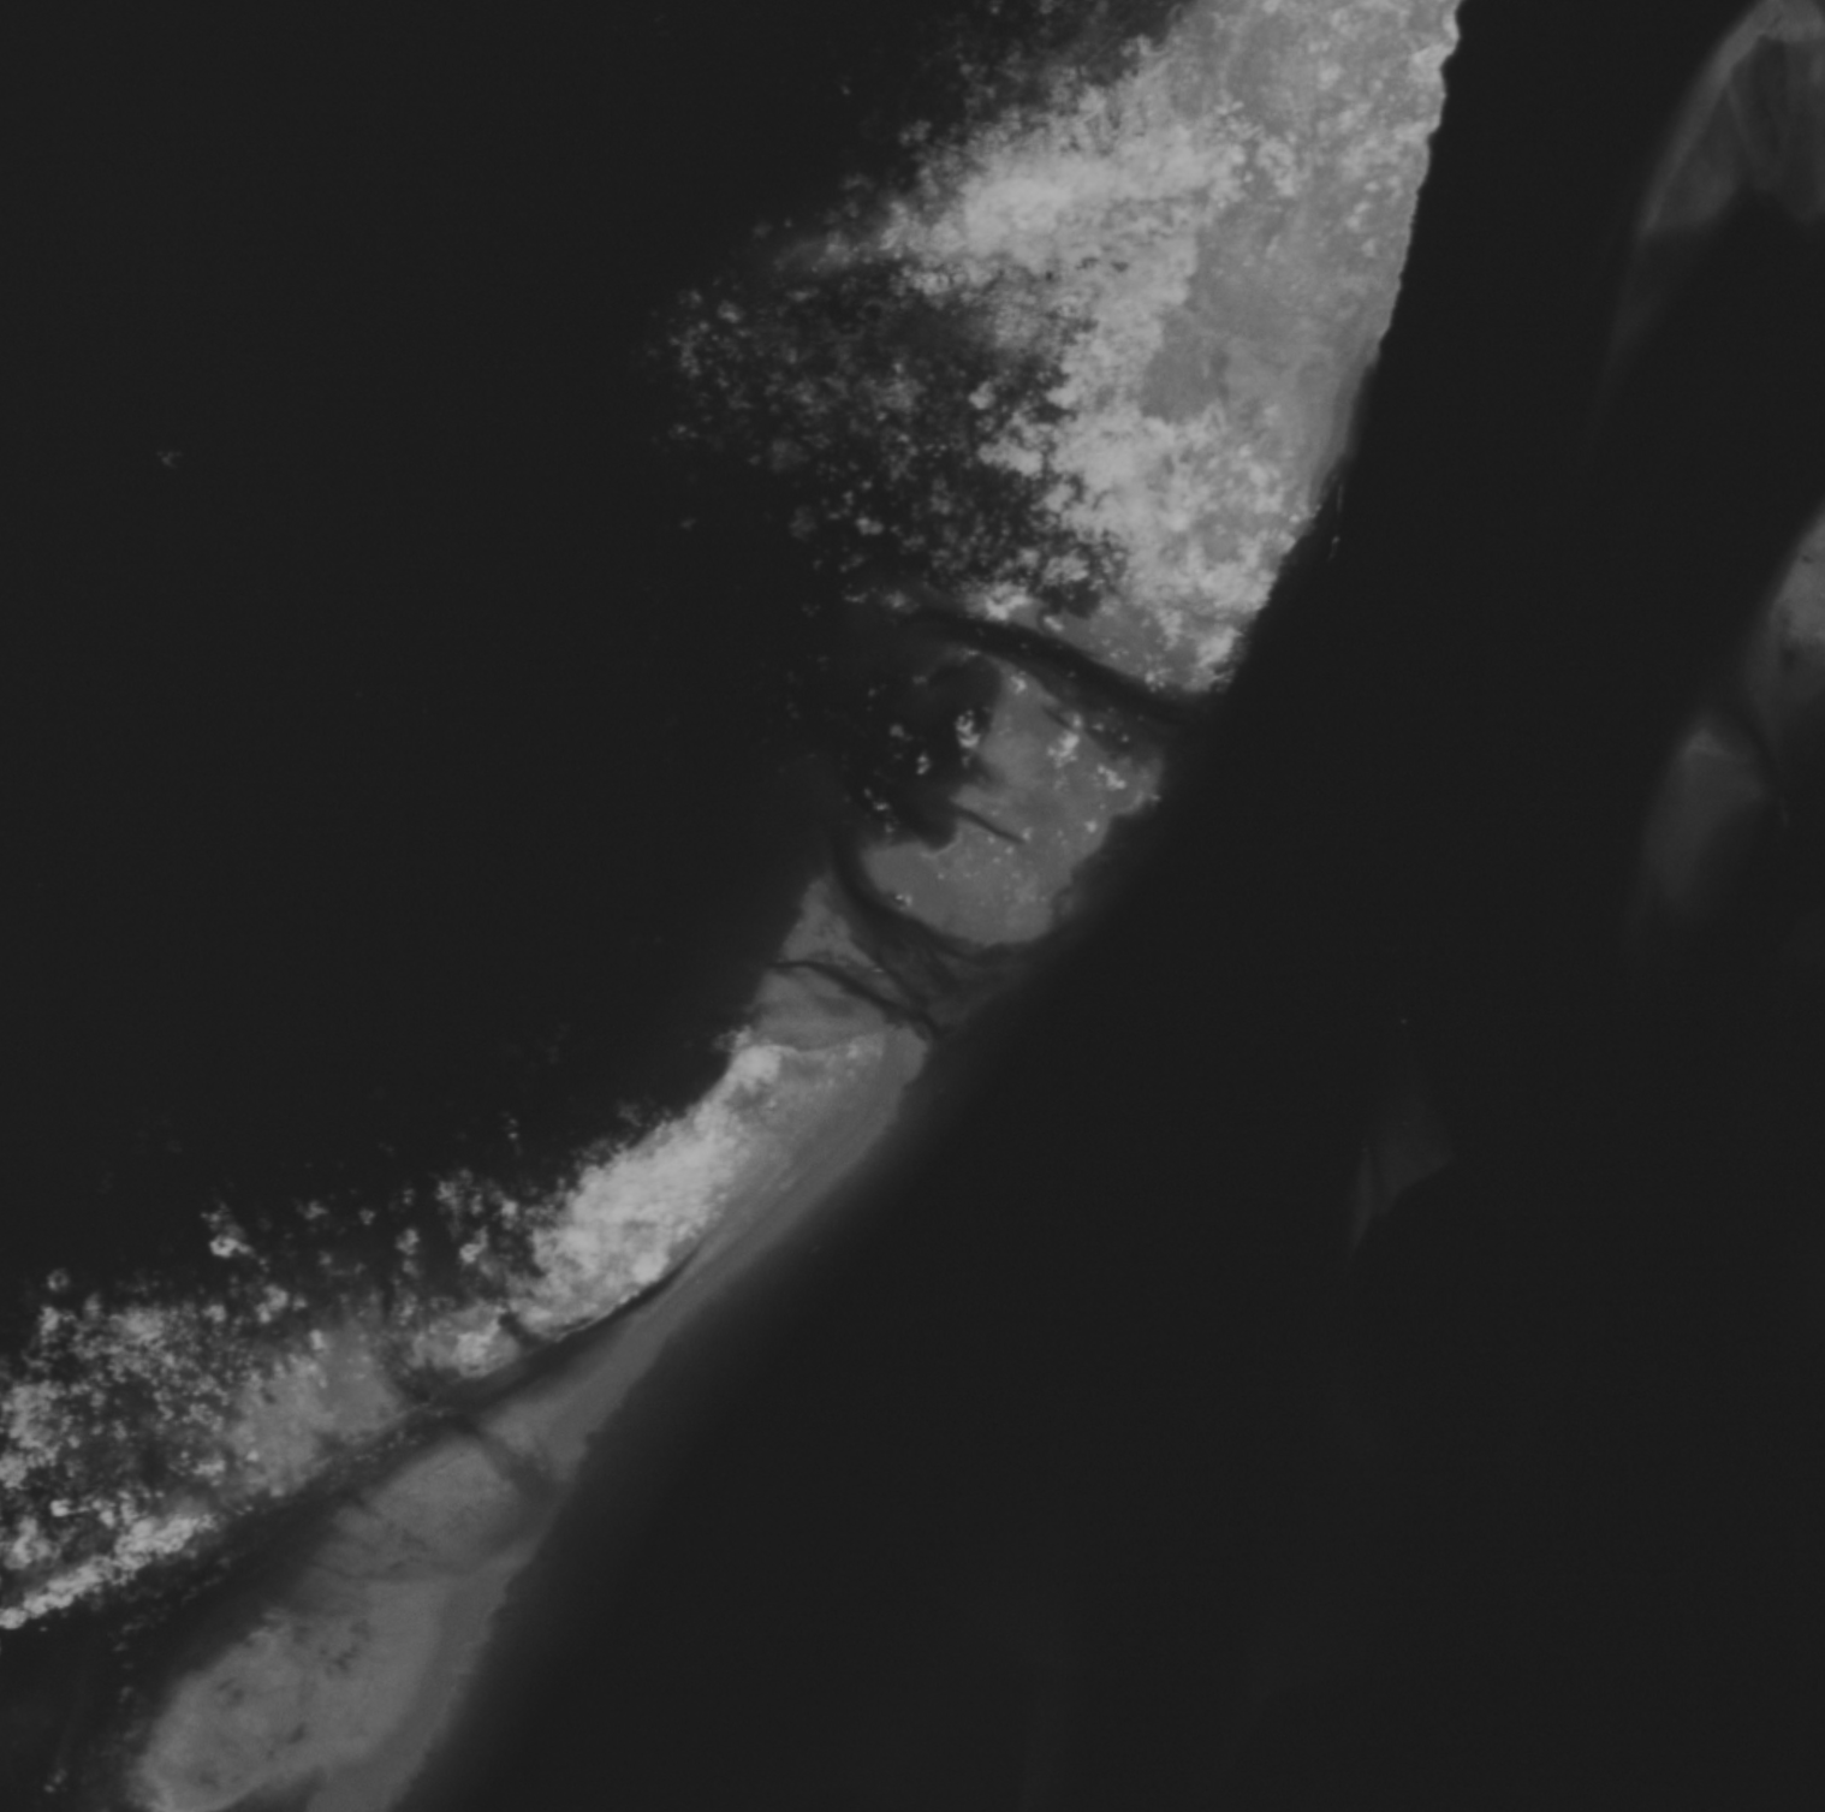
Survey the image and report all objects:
river: (1604, 1277)

